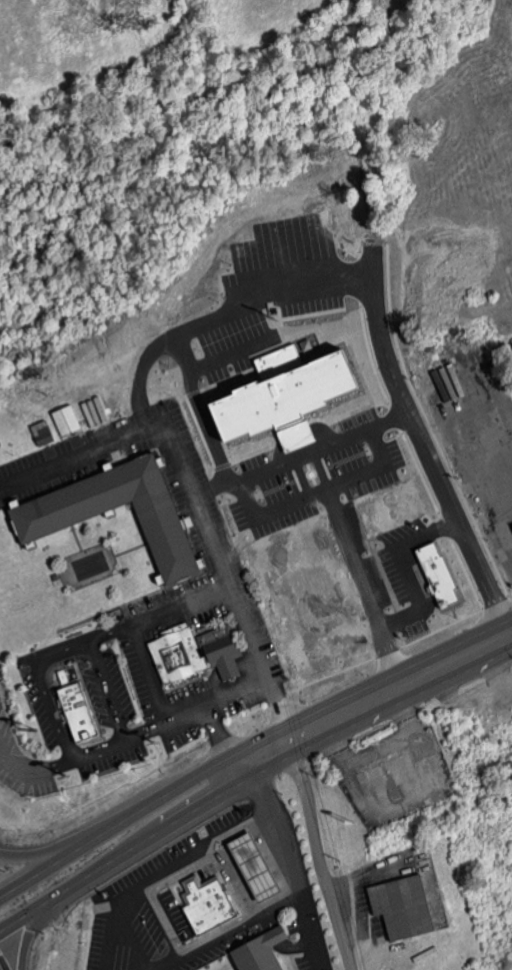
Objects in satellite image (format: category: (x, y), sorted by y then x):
road: (274, 295)
building: (268, 394)
road: (503, 411)
building: (63, 420)
road: (374, 436)
road: (193, 495)
road: (503, 504)
building: (36, 527)
building: (433, 575)
building: (189, 656)
road: (38, 664)
road: (147, 673)
road: (105, 689)
building: (72, 712)
road: (2, 730)
road: (214, 730)
road: (250, 743)
road: (81, 757)
road: (250, 780)
road: (279, 834)
road: (67, 842)
road: (316, 847)
building: (259, 867)
road: (164, 871)
building: (212, 906)
building: (399, 907)
road: (231, 930)
road: (311, 931)
road: (25, 936)
road: (111, 939)
building: (264, 952)

